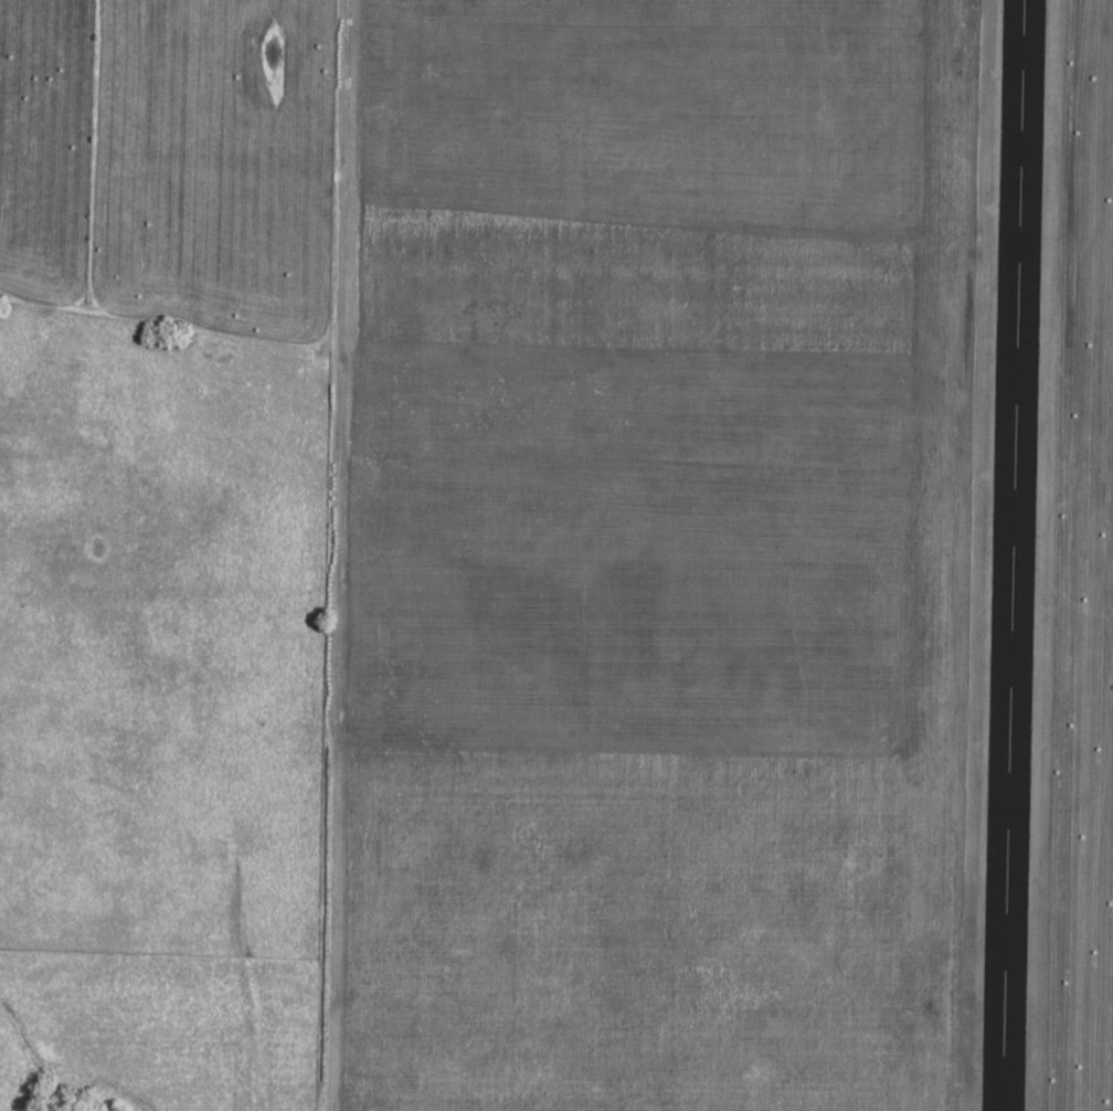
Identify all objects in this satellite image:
airport runway: (1016, 555)

